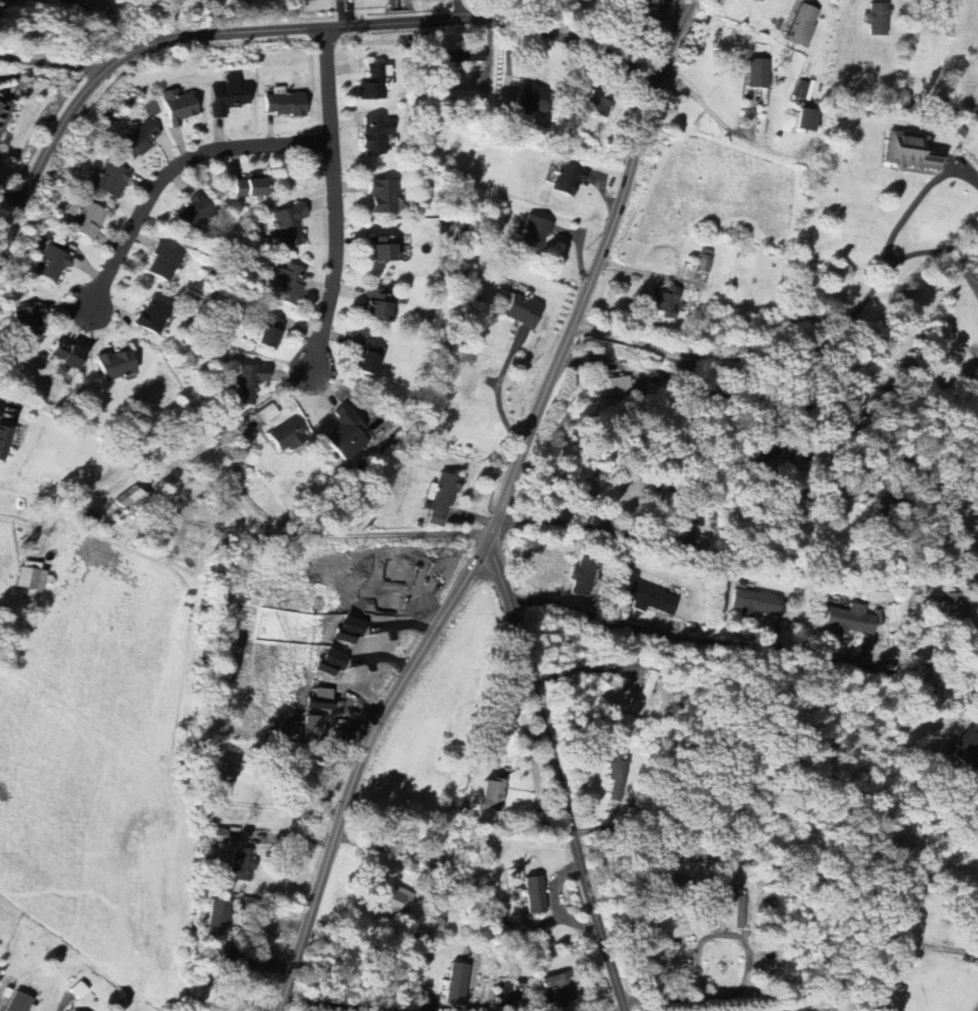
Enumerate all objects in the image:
building: (642, 3)
road: (339, 11)
building: (877, 19)
road: (146, 20)
road: (110, 21)
building: (804, 25)
road: (277, 26)
building: (454, 56)
road: (50, 61)
building: (758, 72)
building: (373, 83)
building: (457, 94)
building: (229, 95)
building: (532, 99)
building: (599, 103)
building: (285, 104)
building: (179, 106)
building: (3, 111)
road: (713, 113)
building: (807, 119)
building: (376, 135)
building: (140, 139)
building: (912, 151)
road: (173, 167)
building: (112, 179)
building: (567, 179)
building: (250, 186)
building: (383, 195)
road: (335, 199)
road: (917, 199)
building: (195, 212)
building: (85, 217)
building: (290, 225)
building: (535, 232)
building: (383, 249)
building: (705, 260)
building: (53, 263)
building: (164, 263)
road: (648, 270)
building: (290, 284)
building: (667, 302)
building: (378, 303)
building: (522, 310)
building: (153, 316)
building: (30, 320)
road: (840, 320)
building: (269, 332)
road: (626, 340)
building: (66, 355)
building: (370, 358)
building: (116, 364)
building: (247, 382)
building: (614, 386)
road: (500, 389)
building: (267, 413)
road: (852, 426)
building: (346, 433)
building: (287, 436)
building: (4, 442)
road: (860, 475)
road: (241, 484)
road: (956, 489)
building: (613, 494)
building: (441, 498)
building: (132, 501)
road: (496, 509)
road: (572, 522)
road: (291, 525)
road: (390, 533)
building: (31, 576)
building: (584, 578)
building: (651, 600)
building: (955, 605)
building: (851, 620)
building: (349, 630)
road: (680, 635)
building: (330, 663)
building: (966, 745)
building: (226, 772)
road: (555, 774)
building: (620, 775)
building: (493, 795)
road: (390, 849)
road: (753, 858)
building: (242, 866)
building: (536, 894)
building: (397, 899)
building: (735, 913)
building: (219, 920)
road: (932, 943)
road: (890, 964)
road: (743, 972)
building: (457, 984)
building: (560, 988)
building: (519, 993)
building: (19, 1002)
road: (358, 1004)
road: (976, 1008)

